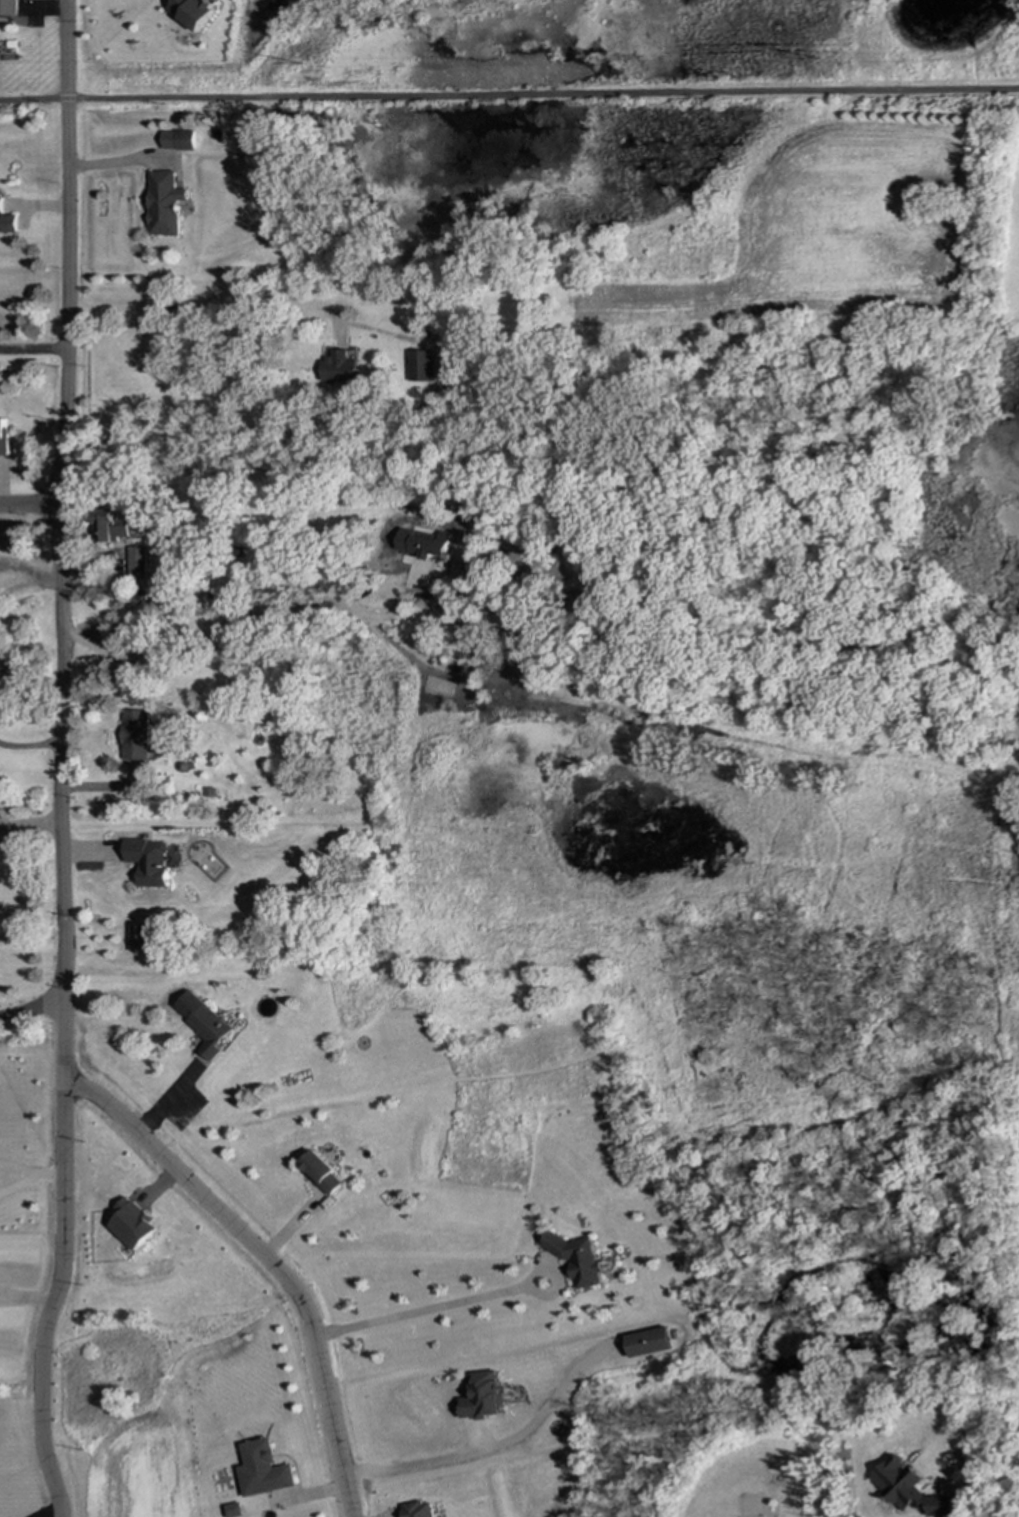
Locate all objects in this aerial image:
building: (8, 8)
building: (193, 11)
power tower: (896, 61)
power tower: (444, 65)
road: (509, 92)
building: (178, 140)
road: (120, 162)
building: (164, 204)
building: (0, 205)
building: (7, 224)
road: (216, 305)
road: (32, 350)
building: (418, 366)
building: (338, 369)
building: (3, 437)
road: (30, 506)
building: (111, 527)
building: (422, 544)
road: (282, 591)
building: (584, 601)
building: (135, 735)
road: (29, 746)
road: (59, 761)
road: (30, 822)
building: (148, 862)
building: (139, 938)
road: (30, 1008)
building: (205, 1024)
road: (166, 1099)
building: (321, 1172)
road: (29, 1176)
building: (133, 1224)
road: (291, 1226)
road: (269, 1259)
building: (580, 1259)
road: (27, 1299)
road: (435, 1308)
building: (649, 1343)
building: (483, 1396)
road: (499, 1443)
building: (265, 1469)
building: (910, 1490)
building: (418, 1509)
building: (235, 1510)
road: (50, 1514)

